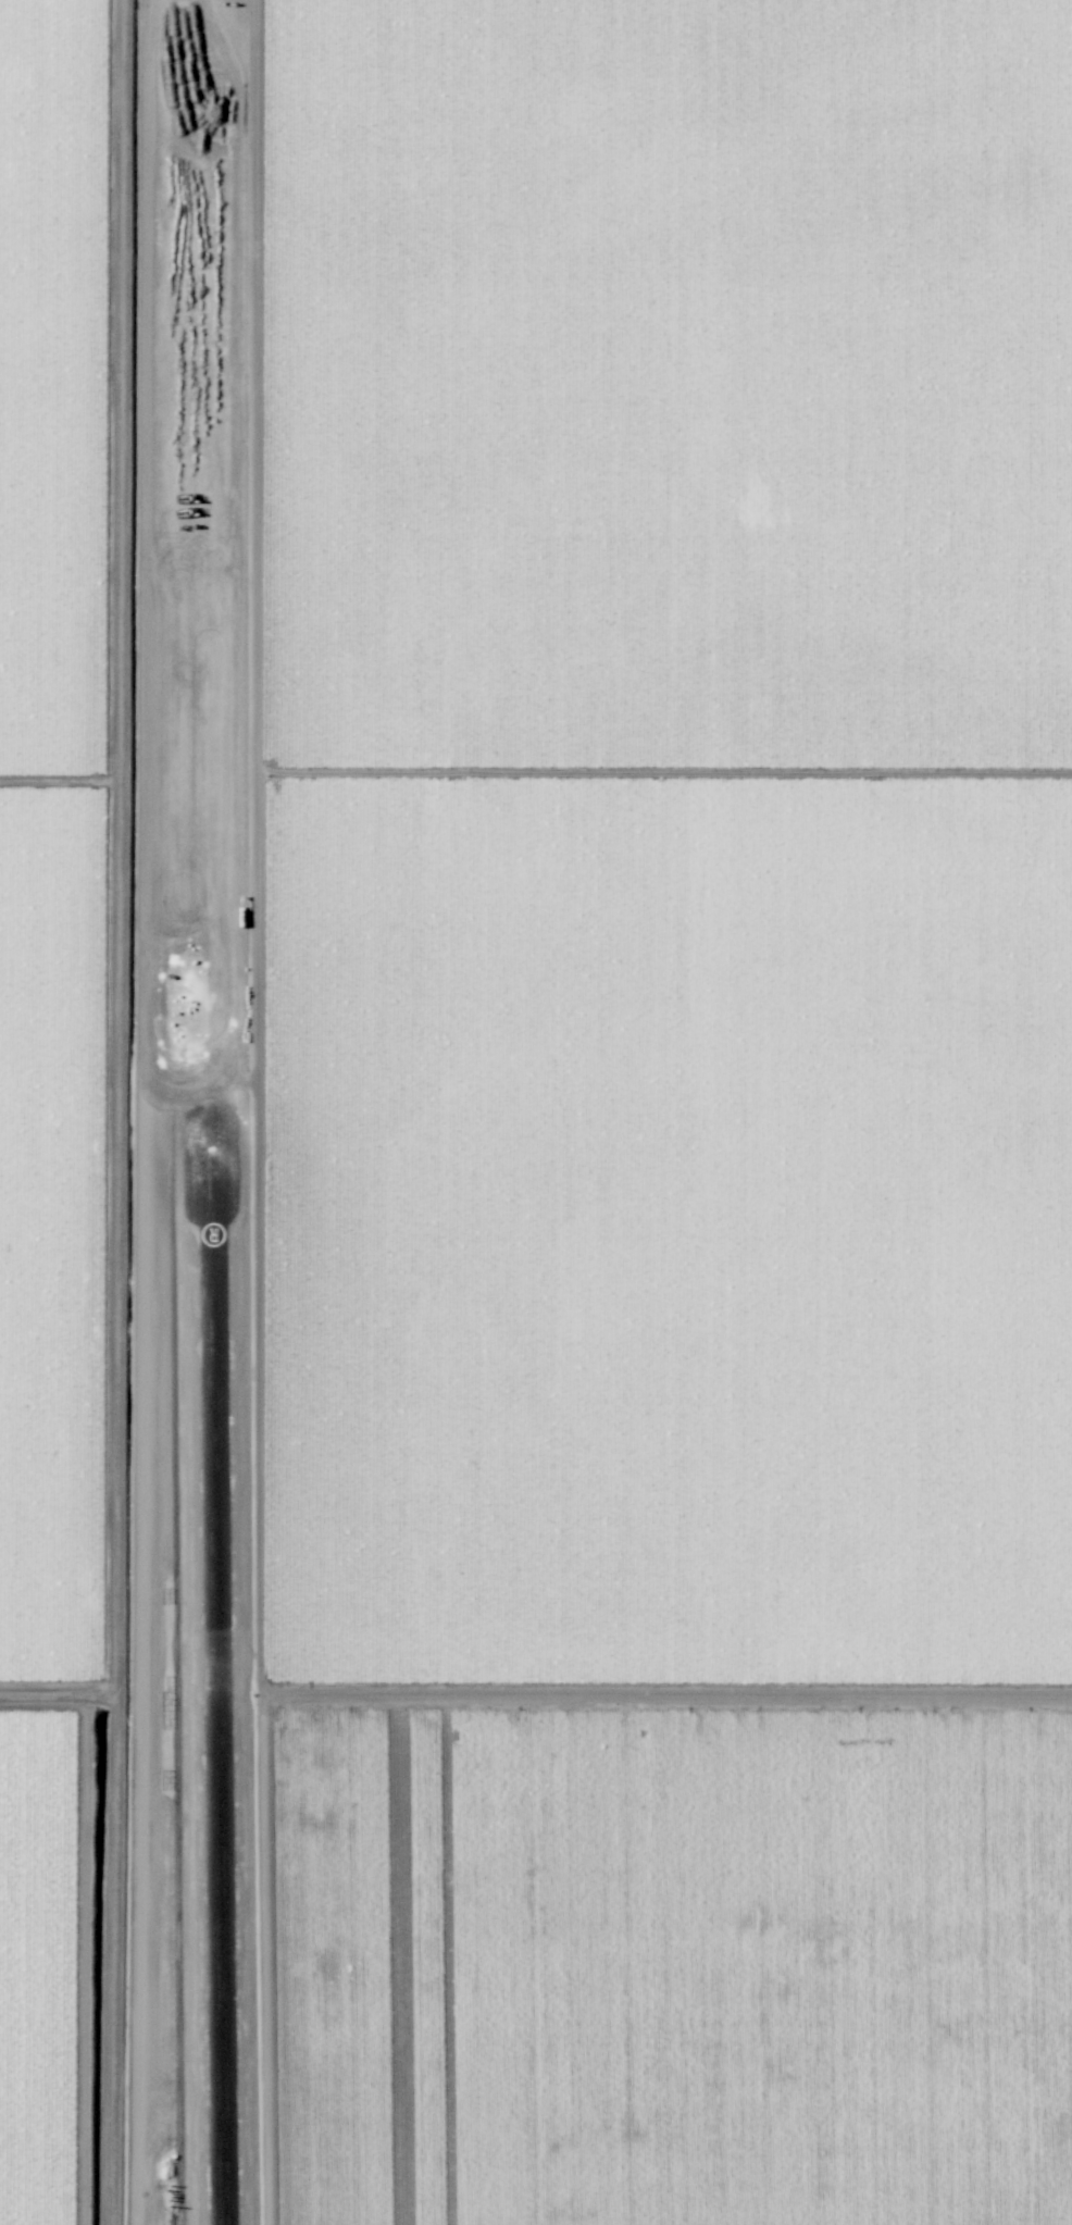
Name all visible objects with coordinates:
crop: (61, 834)
road: (124, 1112)
crop: (58, 1966)

